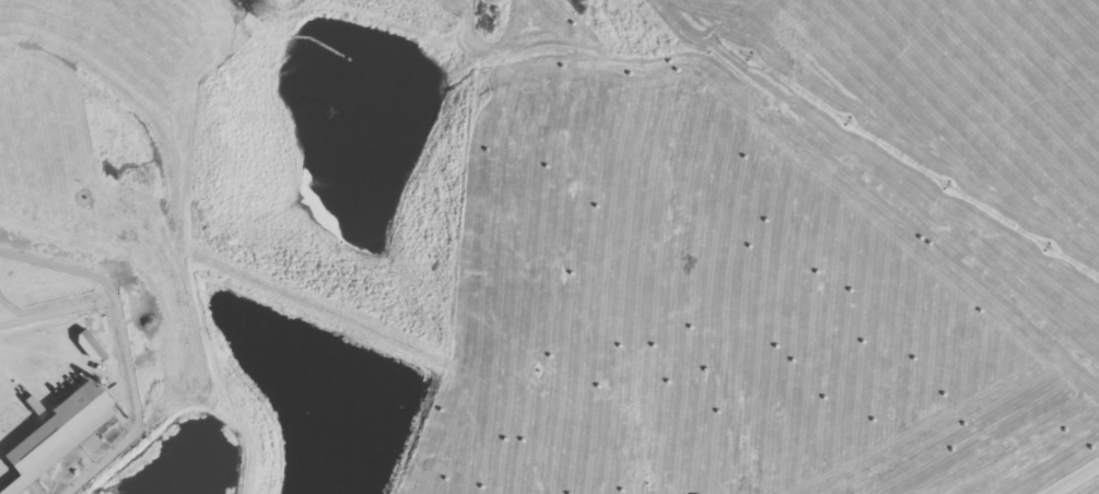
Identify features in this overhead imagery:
building: (55, 435)

